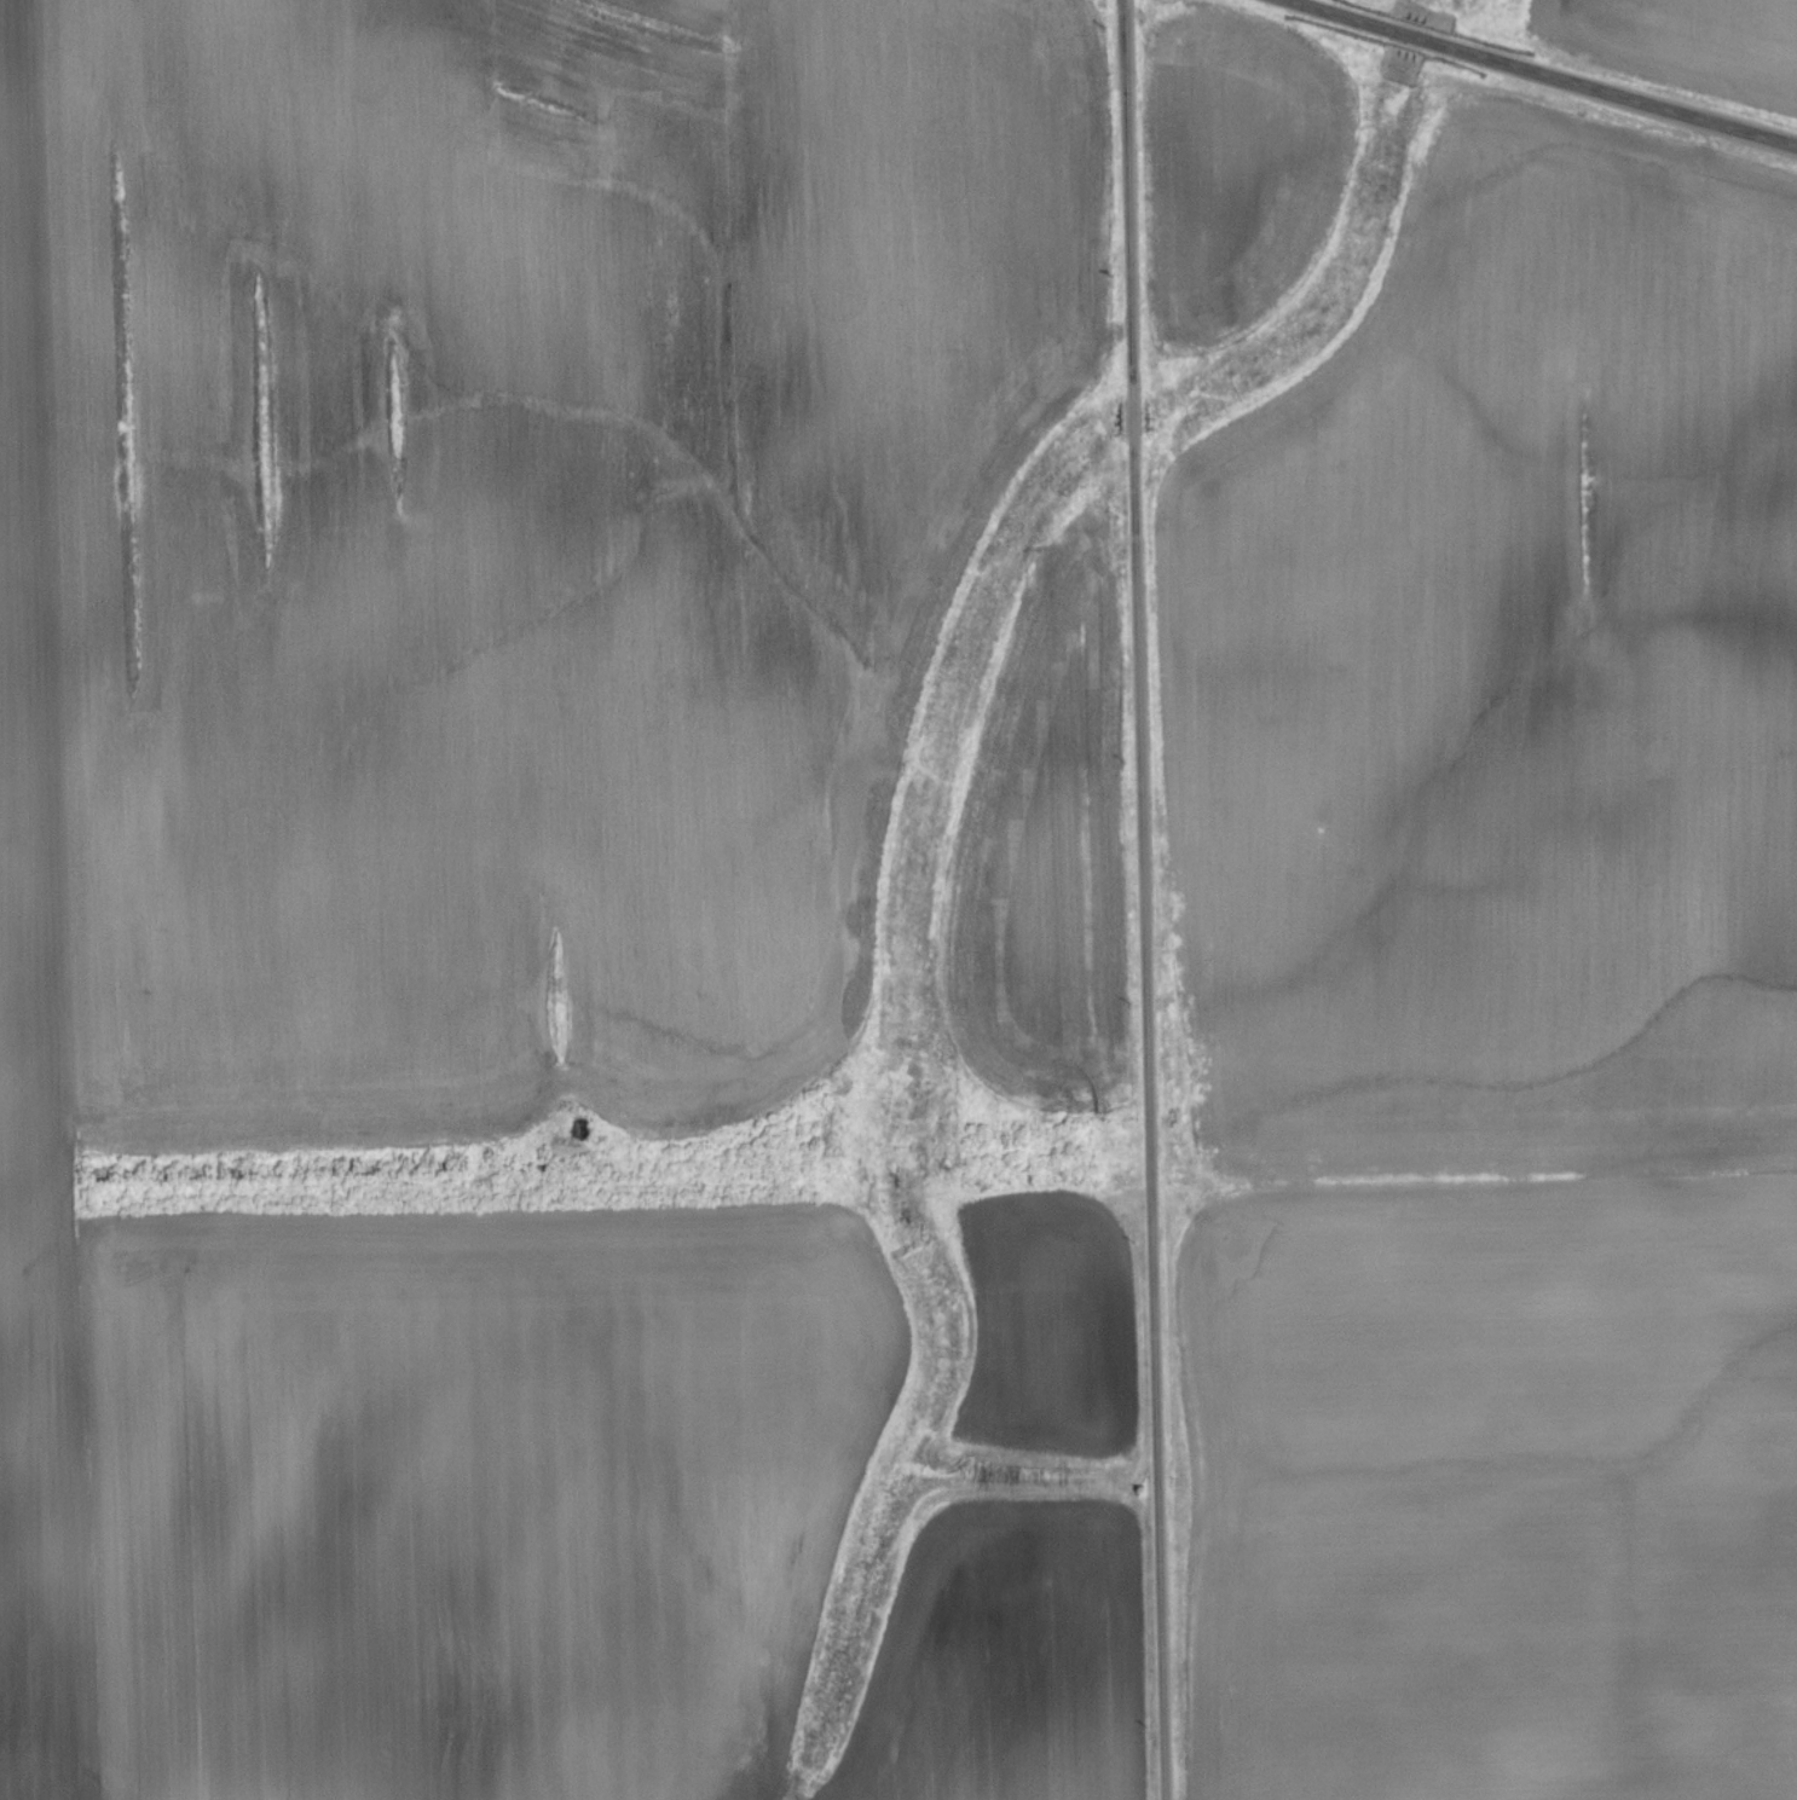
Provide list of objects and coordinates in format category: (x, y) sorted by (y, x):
crop: (1685, 42)
road: (1543, 74)
crop: (1237, 164)
crop: (1040, 847)
crop: (497, 873)
road: (1143, 899)
crop: (1498, 997)
crop: (1052, 1324)

